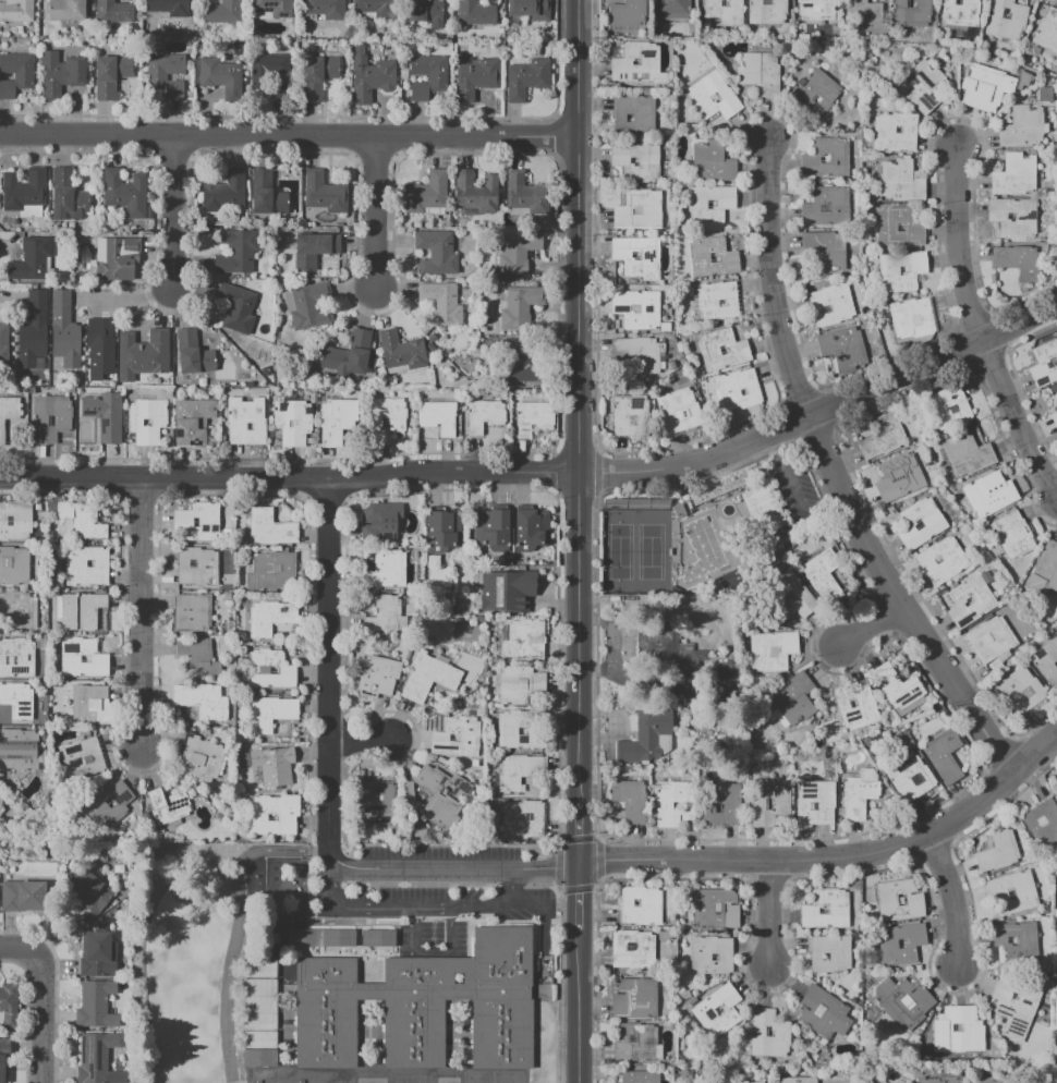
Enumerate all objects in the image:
building: (169, 7)
building: (274, 8)
building: (373, 8)
building: (325, 9)
building: (527, 9)
building: (814, 9)
building: (68, 10)
building: (421, 10)
building: (669, 10)
building: (17, 11)
building: (625, 11)
building: (765, 11)
building: (222, 12)
building: (722, 12)
building: (863, 12)
building: (909, 12)
building: (116, 13)
building: (473, 13)
building: (958, 13)
building: (1004, 20)
building: (1046, 32)
building: (641, 64)
building: (270, 73)
building: (761, 73)
building: (16, 74)
building: (167, 74)
building: (318, 75)
building: (63, 76)
building: (111, 76)
building: (429, 76)
building: (222, 77)
building: (476, 77)
building: (372, 78)
building: (528, 78)
building: (924, 86)
building: (988, 87)
building: (821, 92)
building: (1046, 94)
building: (715, 96)
building: (635, 114)
building: (1024, 127)
building: (897, 132)
road: (289, 134)
building: (828, 159)
building: (637, 161)
building: (714, 162)
building: (1018, 174)
building: (902, 182)
building: (25, 190)
building: (124, 191)
building: (224, 192)
building: (325, 193)
building: (478, 193)
building: (427, 194)
building: (526, 194)
building: (268, 195)
building: (69, 196)
building: (712, 205)
road: (170, 207)
building: (829, 208)
road: (375, 212)
building: (642, 212)
building: (1017, 217)
building: (900, 228)
road: (958, 243)
building: (315, 250)
building: (827, 250)
building: (238, 252)
building: (438, 253)
building: (520, 253)
building: (640, 256)
building: (116, 257)
building: (714, 258)
building: (32, 259)
building: (1020, 261)
building: (903, 271)
road: (772, 282)
road: (123, 297)
building: (718, 301)
building: (444, 303)
building: (833, 305)
building: (238, 307)
building: (311, 307)
building: (522, 307)
building: (637, 308)
building: (487, 312)
building: (913, 318)
building: (31, 329)
building: (62, 330)
building: (95, 342)
building: (2, 344)
building: (845, 349)
building: (403, 352)
building: (725, 352)
building: (194, 354)
building: (144, 355)
building: (640, 355)
building: (353, 356)
building: (521, 362)
building: (1045, 366)
building: (11, 379)
building: (740, 390)
building: (1056, 397)
road: (579, 401)
building: (949, 409)
building: (681, 411)
building: (8, 415)
building: (485, 415)
building: (106, 416)
building: (632, 416)
building: (439, 417)
building: (534, 417)
building: (1055, 417)
building: (50, 418)
road: (1018, 418)
building: (194, 421)
building: (338, 421)
building: (386, 421)
building: (148, 422)
building: (293, 422)
building: (246, 423)
building: (885, 438)
road: (774, 450)
building: (970, 454)
road: (544, 473)
building: (901, 478)
building: (991, 497)
building: (705, 500)
road: (798, 500)
road: (835, 502)
building: (82, 520)
building: (16, 522)
building: (381, 522)
building: (197, 523)
building: (922, 524)
building: (271, 528)
building: (493, 528)
building: (445, 530)
building: (533, 530)
building: (1015, 535)
park: (620, 552)
park: (651, 552)
building: (945, 562)
building: (14, 567)
building: (1047, 567)
building: (86, 568)
building: (198, 568)
building: (387, 568)
building: (275, 572)
building: (824, 573)
building: (508, 591)
building: (791, 596)
road: (897, 601)
building: (973, 601)
building: (19, 612)
building: (84, 612)
building: (193, 612)
road: (139, 613)
building: (388, 617)
building: (271, 618)
road: (871, 625)
building: (526, 640)
building: (993, 641)
building: (774, 649)
building: (199, 657)
building: (16, 659)
building: (83, 660)
road: (328, 661)
building: (1046, 662)
building: (695, 664)
building: (271, 670)
building: (378, 673)
building: (429, 679)
building: (728, 681)
building: (519, 684)
building: (683, 686)
building: (899, 686)
building: (1021, 692)
building: (791, 699)
building: (17, 701)
building: (203, 701)
building: (84, 702)
building: (858, 705)
building: (274, 714)
building: (518, 730)
building: (646, 733)
building: (458, 737)
road: (359, 740)
building: (20, 750)
building: (946, 756)
building: (83, 757)
building: (202, 760)
building: (275, 765)
building: (517, 771)
building: (912, 777)
building: (861, 794)
building: (444, 796)
building: (631, 800)
building: (816, 802)
building: (377, 803)
building: (676, 803)
building: (770, 803)
building: (106, 804)
building: (724, 804)
building: (1, 806)
building: (169, 806)
building: (274, 814)
building: (524, 820)
building: (1043, 822)
road: (579, 833)
building: (998, 853)
road: (251, 854)
road: (332, 855)
road: (836, 857)
traffic signals: (579, 865)
road: (459, 869)
building: (89, 890)
building: (1016, 891)
parking lot: (445, 892)
building: (24, 895)
road: (579, 897)
road: (953, 898)
building: (902, 900)
building: (642, 905)
road: (420, 906)
building: (716, 909)
building: (828, 910)
road: (773, 913)
building: (319, 938)
building: (377, 938)
road: (144, 939)
building: (1017, 939)
building: (901, 944)
road: (27, 950)
building: (634, 950)
road: (433, 952)
building: (831, 953)
building: (99, 956)
building: (712, 956)
park: (187, 959)
building: (636, 999)
building: (906, 1002)
building: (258, 1003)
building: (10, 1006)
building: (96, 1006)
road: (579, 1006)
road: (226, 1007)
building: (421, 1007)
building: (1017, 1007)
building: (719, 1010)
building: (825, 1013)
road: (46, 1026)
building: (959, 1030)
building: (770, 1034)
building: (637, 1043)
building: (97, 1057)
building: (257, 1057)
building: (4, 1058)
park: (276, 1076)
park: (493, 1076)
building: (641, 1076)
building: (797, 1080)
building: (941, 1080)
building: (992, 1080)
building: (744, 1082)
building: (761, 1082)

